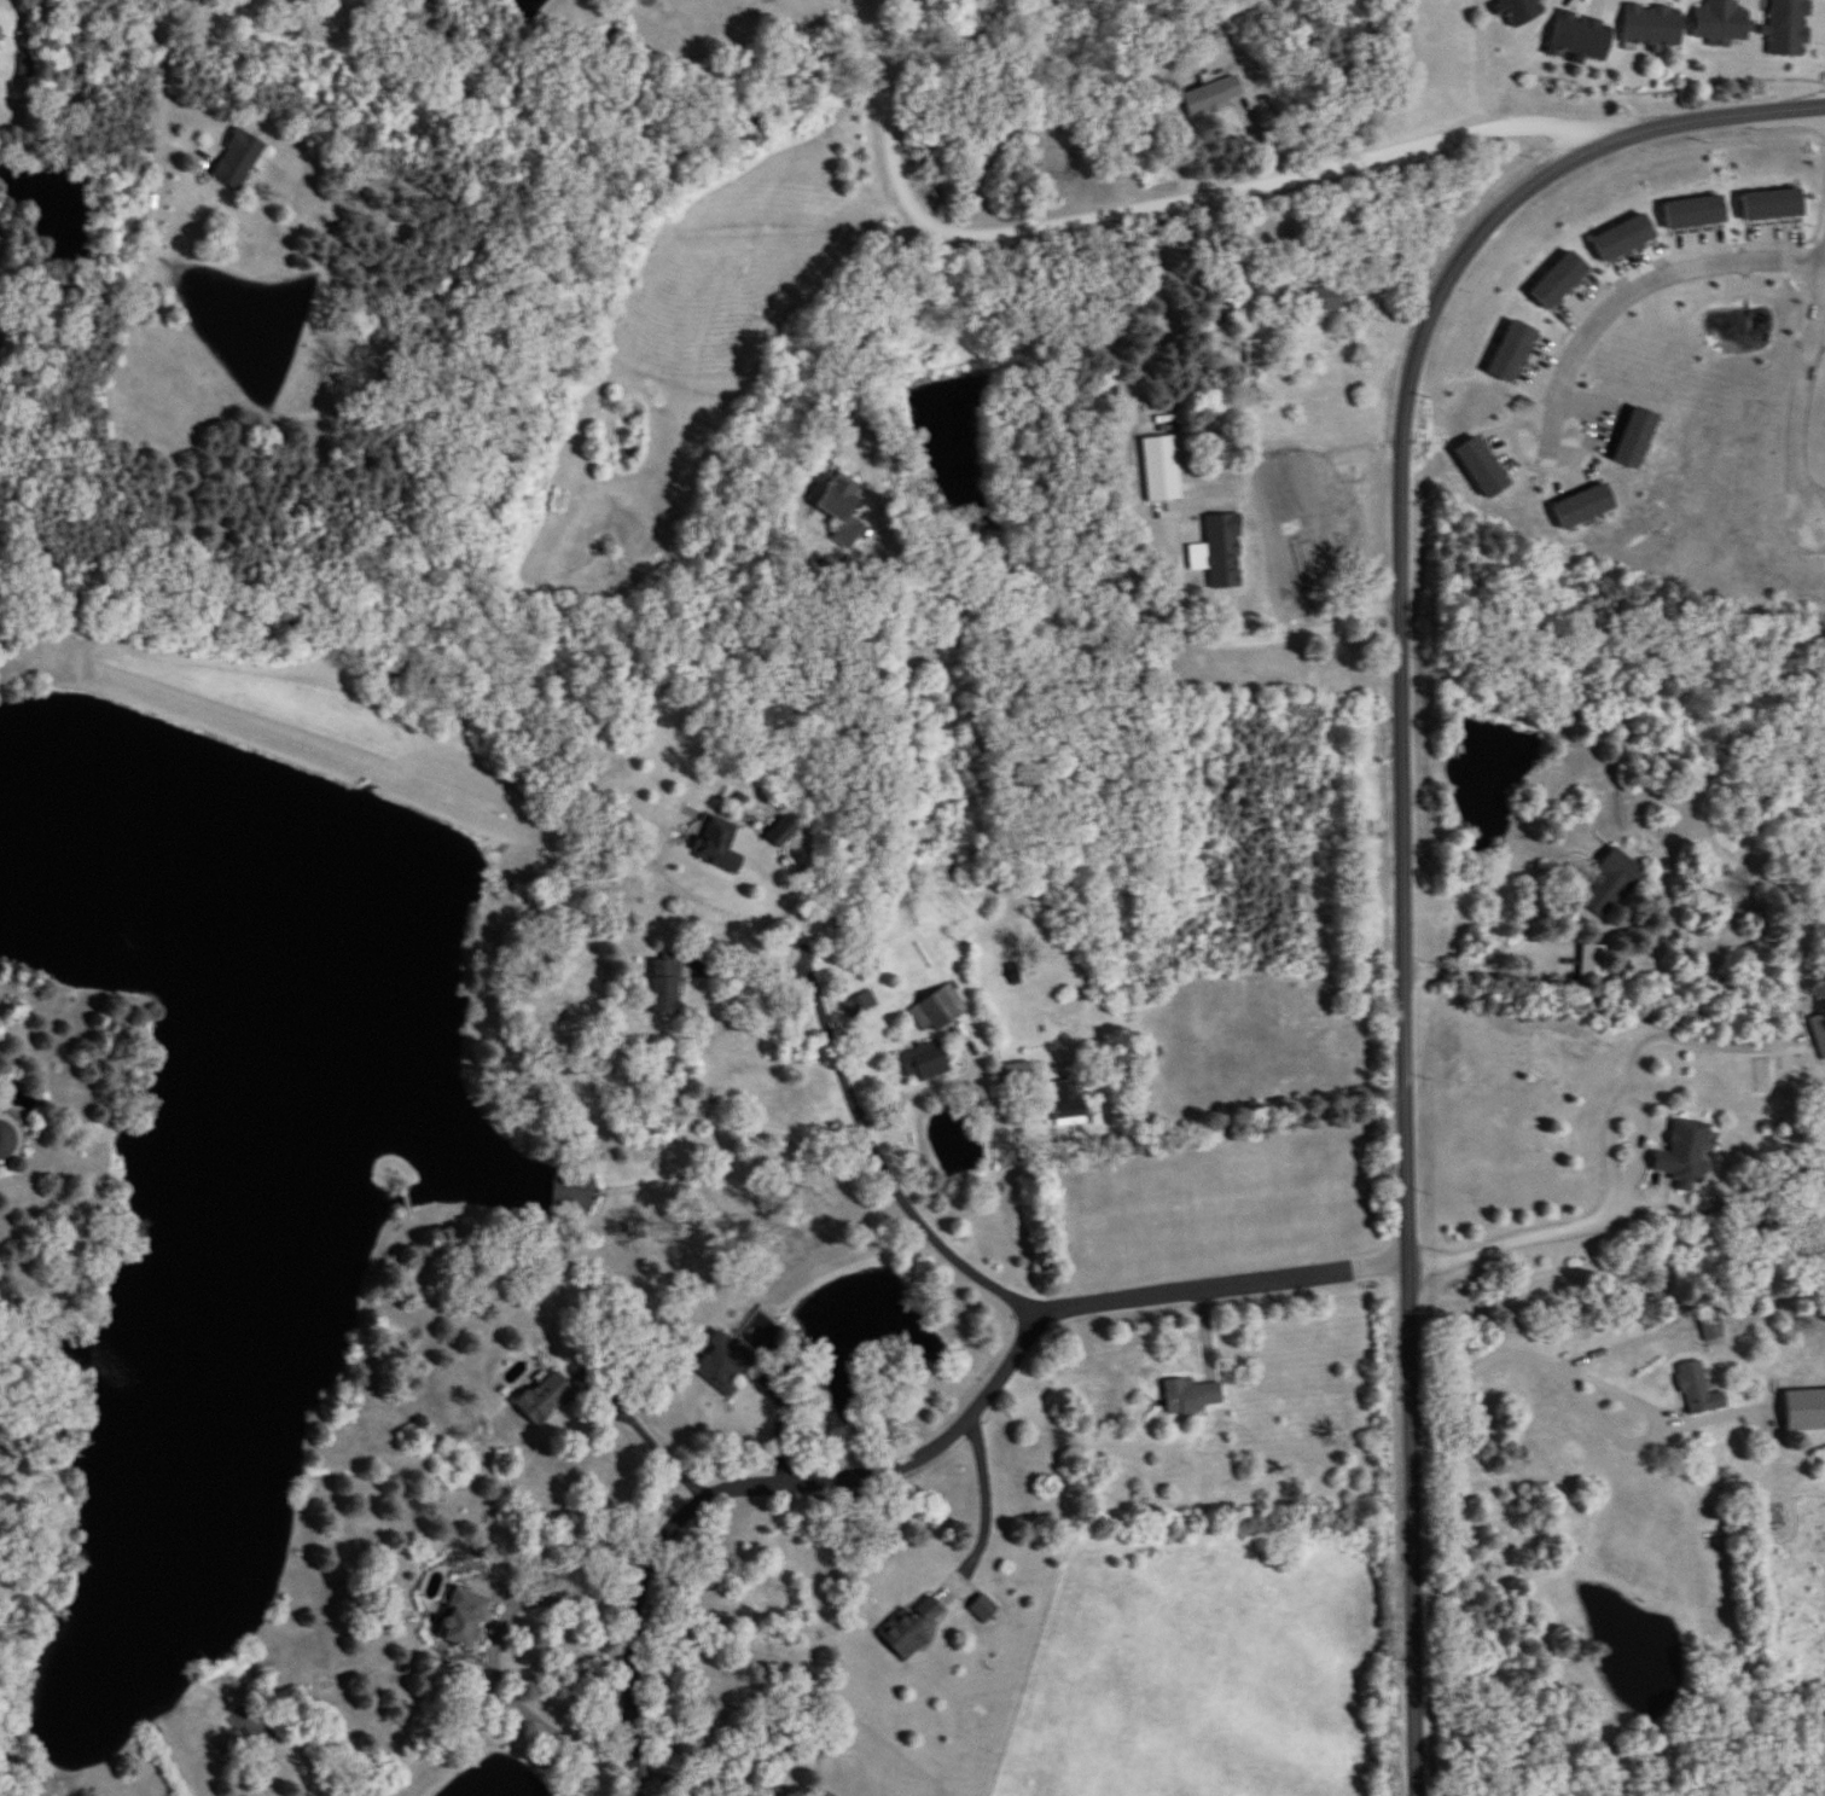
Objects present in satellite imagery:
building: (1522, 11)
building: (1722, 21)
building: (1653, 25)
building: (1790, 29)
building: (0, 33)
building: (1581, 36)
building: (1213, 94)
building: (239, 159)
road: (153, 191)
building: (1773, 204)
road: (1153, 207)
building: (1696, 211)
building: (1625, 237)
building: (1560, 279)
road: (1644, 286)
building: (1326, 298)
building: (1512, 350)
building: (1256, 351)
road: (860, 370)
road: (1800, 401)
building: (1482, 466)
building: (1161, 467)
building: (1583, 506)
building: (856, 516)
road: (1182, 541)
building: (1224, 550)
road: (1403, 813)
building: (717, 844)
building: (1620, 871)
road: (746, 966)
road: (1480, 967)
building: (666, 986)
building: (861, 1004)
building: (938, 1009)
building: (1819, 1031)
building: (926, 1062)
building: (1024, 1071)
road: (946, 1087)
building: (1066, 1103)
road: (1306, 1106)
road: (859, 1112)
building: (6, 1138)
road: (838, 1152)
building: (1686, 1153)
building: (574, 1188)
road: (1532, 1234)
building: (1711, 1326)
road: (1623, 1343)
building: (725, 1364)
road: (1477, 1365)
building: (1696, 1388)
road: (786, 1389)
building: (546, 1397)
building: (1190, 1397)
building: (1806, 1410)
road: (1716, 1411)
road: (1660, 1416)
road: (934, 1455)
road: (662, 1457)
road: (987, 1505)
building: (463, 1618)
building: (912, 1628)
road: (492, 1655)
road: (715, 1783)

